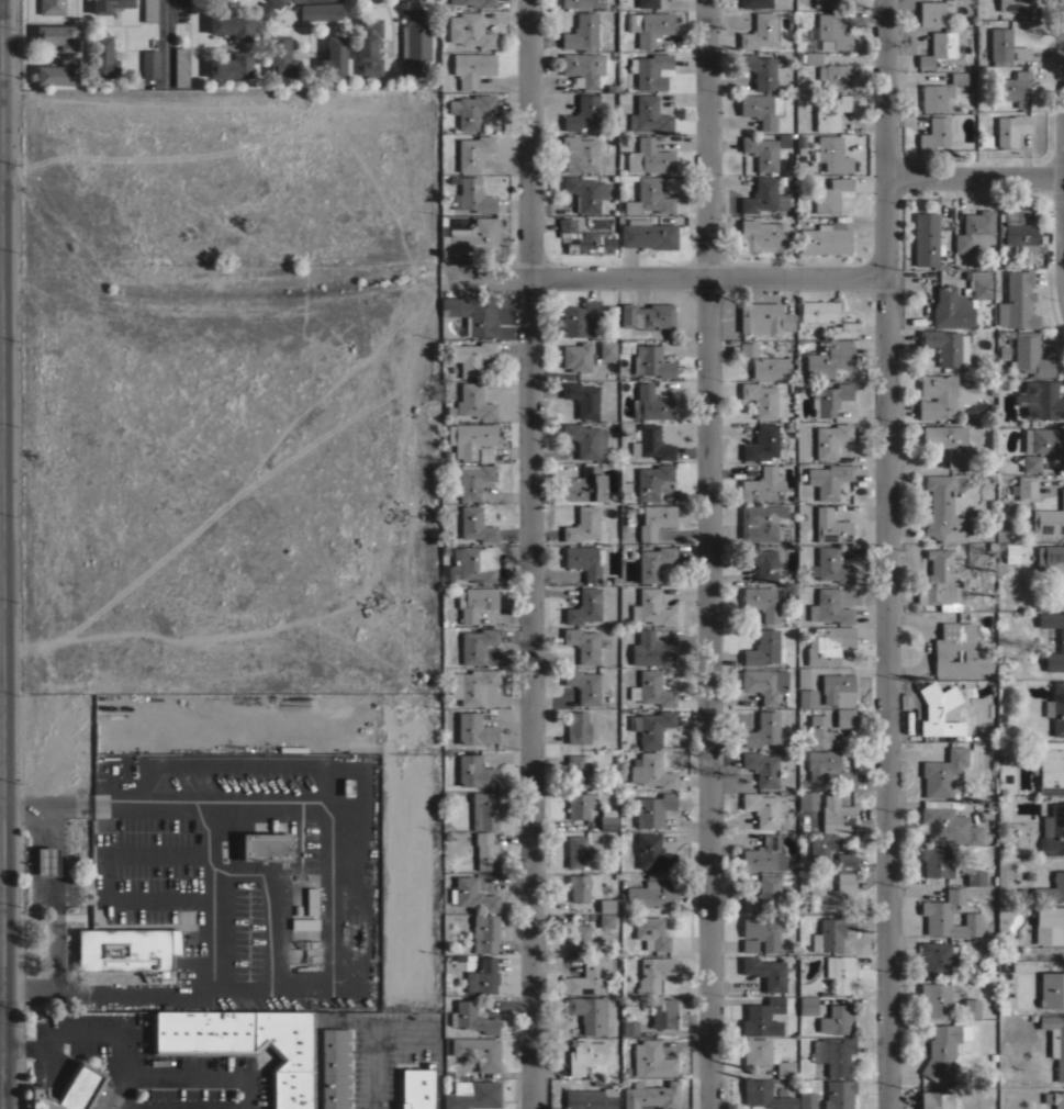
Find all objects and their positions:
building: (210, 2)
building: (276, 2)
building: (480, 2)
building: (581, 3)
building: (647, 3)
building: (754, 3)
building: (826, 3)
building: (109, 4)
building: (1013, 4)
building: (52, 7)
building: (149, 11)
building: (321, 11)
building: (933, 13)
building: (231, 25)
building: (649, 25)
building: (469, 30)
building: (583, 31)
building: (759, 31)
building: (830, 32)
building: (58, 35)
road: (166, 42)
building: (414, 42)
building: (368, 46)
building: (1004, 46)
building: (938, 47)
building: (280, 56)
building: (102, 57)
building: (333, 57)
building: (813, 57)
building: (149, 63)
building: (231, 65)
building: (180, 66)
building: (471, 67)
building: (583, 67)
building: (761, 69)
building: (651, 70)
building: (58, 72)
building: (835, 76)
building: (957, 77)
building: (1011, 86)
building: (933, 96)
building: (761, 109)
building: (470, 110)
building: (584, 113)
building: (831, 113)
building: (648, 115)
building: (1010, 128)
building: (936, 132)
building: (782, 139)
building: (799, 142)
building: (472, 152)
building: (761, 152)
building: (580, 153)
building: (832, 154)
building: (649, 156)
road: (975, 178)
building: (586, 193)
building: (830, 194)
building: (472, 195)
building: (762, 197)
building: (649, 198)
building: (1017, 229)
building: (974, 231)
building: (648, 234)
building: (762, 235)
building: (472, 236)
building: (585, 238)
building: (825, 238)
building: (927, 240)
road: (663, 279)
building: (981, 284)
building: (1017, 301)
building: (951, 307)
building: (818, 311)
building: (470, 315)
building: (647, 315)
building: (764, 317)
building: (579, 318)
building: (843, 329)
building: (945, 346)
building: (607, 349)
building: (748, 349)
building: (1001, 351)
building: (576, 356)
building: (1031, 356)
building: (471, 357)
building: (829, 359)
building: (652, 361)
building: (770, 367)
building: (937, 395)
building: (584, 397)
building: (829, 397)
building: (760, 399)
building: (1040, 400)
building: (473, 402)
building: (651, 403)
building: (473, 437)
building: (586, 439)
building: (830, 439)
building: (947, 441)
building: (1044, 441)
building: (651, 443)
building: (763, 445)
building: (1031, 462)
building: (473, 479)
building: (828, 480)
building: (651, 481)
building: (763, 484)
building: (584, 486)
building: (1024, 488)
building: (943, 509)
building: (1049, 518)
building: (654, 519)
building: (761, 522)
building: (582, 524)
building: (474, 525)
building: (830, 526)
road: (529, 553)
road: (708, 553)
road: (885, 553)
building: (1010, 554)
building: (585, 560)
building: (478, 562)
building: (653, 562)
building: (761, 562)
building: (830, 565)
building: (1055, 572)
building: (940, 580)
building: (763, 601)
building: (477, 603)
building: (649, 606)
building: (586, 607)
building: (829, 607)
building: (1061, 639)
building: (473, 643)
building: (583, 643)
building: (828, 645)
building: (764, 648)
building: (650, 649)
building: (959, 651)
building: (803, 676)
building: (764, 683)
building: (585, 684)
building: (472, 686)
building: (651, 688)
building: (838, 690)
building: (806, 697)
building: (1056, 707)
building: (938, 712)
building: (844, 717)
building: (578, 727)
building: (651, 727)
building: (474, 729)
building: (765, 730)
building: (821, 731)
building: (761, 768)
building: (578, 769)
building: (828, 769)
building: (1049, 769)
building: (474, 771)
building: (651, 771)
building: (943, 772)
building: (347, 787)
building: (807, 799)
building: (580, 804)
road: (29, 807)
building: (653, 808)
building: (764, 809)
building: (483, 810)
building: (836, 814)
building: (607, 819)
building: (947, 824)
building: (1053, 830)
building: (267, 845)
building: (822, 848)
building: (485, 851)
building: (653, 852)
building: (580, 853)
building: (763, 854)
building: (936, 861)
building: (46, 862)
building: (844, 862)
building: (974, 876)
building: (844, 881)
building: (579, 887)
building: (1051, 889)
building: (651, 893)
building: (763, 894)
building: (472, 895)
building: (821, 898)
road: (212, 900)
building: (310, 900)
road: (59, 901)
building: (606, 905)
building: (949, 915)
building: (606, 920)
building: (304, 923)
building: (1049, 923)
building: (484, 932)
building: (651, 932)
building: (761, 932)
building: (831, 932)
building: (579, 938)
building: (125, 949)
building: (938, 957)
building: (972, 966)
building: (765, 972)
building: (840, 973)
building: (656, 974)
building: (586, 975)
building: (481, 976)
building: (1051, 989)
road: (31, 990)
building: (937, 998)
building: (807, 1005)
building: (971, 1007)
building: (589, 1012)
building: (663, 1012)
building: (471, 1017)
building: (762, 1017)
building: (836, 1018)
building: (629, 1027)
road: (70, 1028)
building: (1055, 1041)
building: (245, 1044)
building: (940, 1048)
building: (478, 1052)
building: (833, 1054)
building: (585, 1055)
building: (764, 1055)
building: (651, 1060)
building: (335, 1068)
road: (186, 1073)
building: (417, 1087)
building: (68, 1089)
building: (838, 1094)
building: (471, 1095)
building: (651, 1095)
building: (764, 1095)
building: (1054, 1098)
building: (589, 1099)
building: (934, 1099)
building: (806, 1100)

